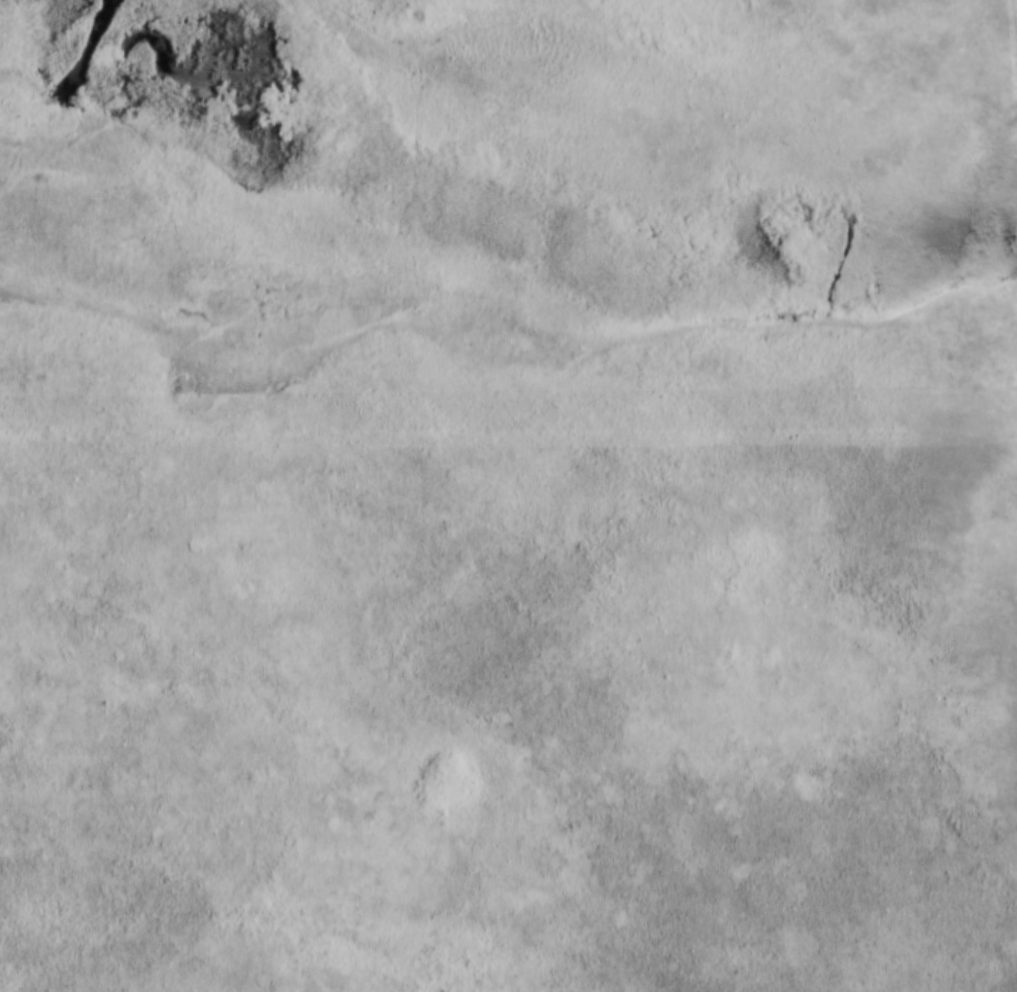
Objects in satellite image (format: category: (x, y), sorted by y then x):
road: (508, 408)

